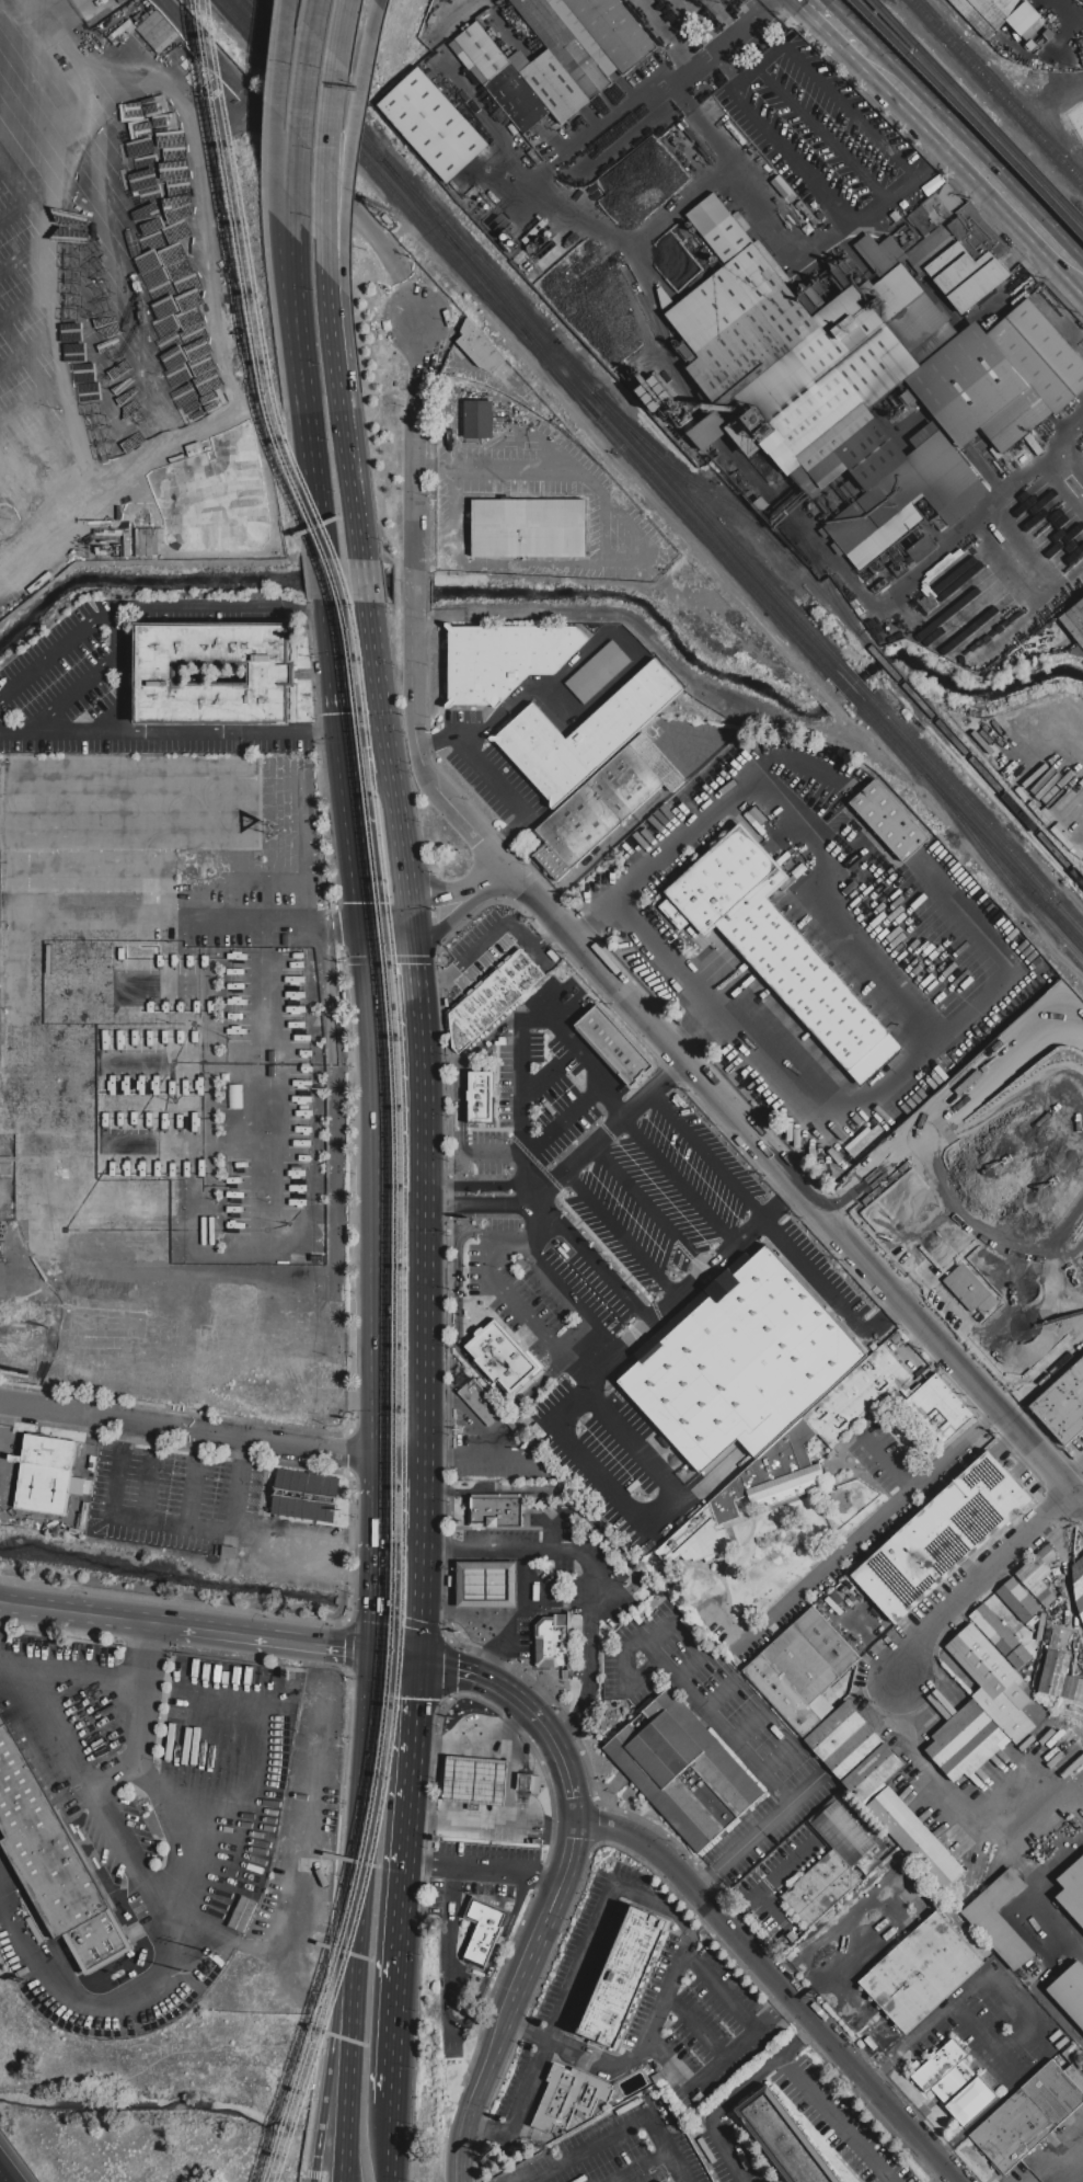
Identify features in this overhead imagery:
building: (550, 0)
road: (290, 2)
road: (318, 15)
building: (1002, 15)
road: (1065, 24)
road: (837, 25)
building: (614, 30)
road: (346, 31)
railway: (266, 32)
railway: (272, 32)
road: (376, 43)
building: (563, 46)
road: (771, 54)
road: (726, 58)
road: (749, 70)
building: (502, 77)
building: (551, 82)
railway: (1002, 88)
road: (647, 91)
railway: (982, 106)
road: (284, 107)
road: (851, 108)
railway: (972, 112)
road: (224, 116)
road: (965, 119)
building: (433, 124)
road: (303, 127)
road: (491, 129)
road: (821, 134)
railway: (364, 139)
road: (298, 153)
road: (330, 157)
road: (934, 157)
road: (973, 163)
road: (3, 172)
road: (353, 178)
road: (816, 183)
railway: (387, 185)
road: (677, 208)
road: (15, 214)
road: (781, 237)
road: (26, 252)
building: (880, 253)
road: (288, 272)
building: (967, 275)
road: (298, 278)
railway: (493, 293)
road: (93, 295)
road: (220, 299)
road: (38, 300)
parking lot: (72, 306)
road: (334, 312)
road: (345, 321)
road: (50, 341)
building: (480, 346)
building: (1012, 377)
road: (61, 379)
building: (821, 379)
road: (486, 397)
road: (56, 405)
road: (72, 420)
building: (480, 420)
road: (447, 435)
road: (311, 445)
road: (412, 447)
road: (546, 447)
railway: (730, 449)
road: (83, 461)
road: (353, 466)
road: (496, 471)
road: (1067, 472)
power tower: (1, 523)
building: (528, 528)
road: (601, 529)
road: (562, 563)
railway: (757, 574)
road: (326, 579)
road: (366, 582)
road: (413, 590)
road: (894, 605)
road: (223, 608)
building: (1075, 621)
railway: (857, 635)
road: (57, 652)
building: (504, 659)
railway: (817, 659)
road: (335, 666)
road: (120, 670)
building: (598, 672)
building: (273, 674)
road: (561, 676)
road: (414, 687)
road: (604, 693)
road: (71, 696)
road: (255, 732)
traffic signals: (343, 732)
road: (60, 734)
road: (463, 734)
building: (585, 734)
road: (388, 751)
building: (657, 762)
road: (793, 763)
road: (347, 774)
parking lot: (489, 774)
road: (509, 797)
building: (596, 811)
road: (463, 819)
building: (889, 820)
road: (659, 854)
railway: (1001, 870)
road: (359, 875)
road: (493, 877)
road: (445, 894)
traffic signals: (408, 900)
road: (388, 917)
road: (411, 917)
road: (587, 919)
road: (434, 930)
traffic signals: (367, 935)
traffic signals: (413, 935)
road: (492, 943)
building: (777, 947)
road: (861, 950)
road: (300, 993)
building: (493, 998)
parking lot: (558, 998)
road: (555, 1010)
road: (206, 1024)
road: (520, 1030)
road: (269, 1032)
road: (691, 1035)
building: (614, 1044)
parking lot: (572, 1051)
road: (270, 1067)
road: (423, 1070)
road: (464, 1073)
road: (995, 1074)
road: (539, 1082)
road: (884, 1086)
railway: (395, 1087)
railway: (405, 1087)
building: (482, 1096)
road: (272, 1107)
parking lot: (531, 1110)
road: (1002, 1111)
road: (565, 1120)
road: (464, 1130)
road: (609, 1132)
road: (272, 1145)
road: (336, 1150)
road: (495, 1152)
road: (708, 1155)
road: (866, 1178)
road: (790, 1180)
road: (679, 1183)
road: (272, 1186)
road: (477, 1186)
road: (782, 1203)
road: (379, 1206)
road: (479, 1206)
road: (541, 1207)
road: (650, 1209)
road: (272, 1215)
parking lot: (615, 1232)
road: (981, 1234)
road: (620, 1236)
road: (1067, 1238)
road: (587, 1257)
road: (272, 1263)
parking lot: (818, 1273)
building: (970, 1290)
road: (830, 1294)
road: (569, 1296)
road: (509, 1298)
road: (669, 1305)
road: (458, 1334)
road: (425, 1335)
building: (503, 1357)
building: (740, 1359)
road: (589, 1383)
building: (857, 1396)
building: (480, 1402)
building: (1063, 1405)
road: (567, 1408)
building: (938, 1409)
road: (473, 1417)
road: (8, 1425)
road: (211, 1433)
road: (483, 1456)
parking lot: (614, 1462)
road: (887, 1462)
road: (1072, 1472)
building: (46, 1473)
building: (773, 1474)
road: (195, 1480)
road: (115, 1484)
road: (147, 1487)
road: (497, 1489)
road: (424, 1490)
building: (306, 1495)
road: (1079, 1499)
parking lot: (172, 1500)
building: (496, 1510)
road: (379, 1516)
road: (664, 1517)
road: (24, 1519)
road: (553, 1528)
road: (232, 1529)
road: (349, 1535)
building: (942, 1536)
building: (698, 1540)
road: (852, 1541)
road: (277, 1545)
road: (520, 1550)
building: (229, 1552)
road: (514, 1555)
road: (461, 1556)
road: (476, 1556)
road: (499, 1556)
building: (1038, 1574)
road: (980, 1581)
building: (1079, 1584)
road: (461, 1585)
road: (476, 1585)
building: (487, 1585)
road: (498, 1585)
road: (514, 1585)
road: (422, 1588)
building: (1018, 1600)
road: (376, 1603)
road: (514, 1611)
road: (461, 1612)
road: (515, 1613)
road: (89, 1614)
road: (476, 1614)
road: (460, 1615)
road: (498, 1619)
road: (661, 1631)
building: (1001, 1636)
road: (277, 1640)
building: (552, 1642)
building: (827, 1642)
traffic signals: (376, 1653)
road: (396, 1656)
traffic signals: (418, 1660)
building: (982, 1660)
road: (689, 1665)
building: (800, 1665)
road: (590, 1672)
road: (69, 1675)
road: (626, 1677)
building: (1060, 1677)
building: (783, 1695)
road: (718, 1697)
road: (520, 1702)
building: (1007, 1712)
road: (372, 1718)
road: (717, 1725)
road: (750, 1726)
building: (836, 1729)
parking lot: (722, 1732)
building: (958, 1733)
road: (475, 1743)
building: (855, 1750)
building: (975, 1752)
road: (779, 1758)
building: (682, 1770)
road: (512, 1771)
building: (874, 1772)
road: (116, 1775)
road: (932, 1779)
building: (525, 1781)
building: (475, 1787)
road: (101, 1801)
road: (182, 1808)
road: (575, 1809)
road: (493, 1819)
road: (758, 1833)
building: (915, 1838)
building: (53, 1862)
road: (802, 1867)
road: (1024, 1870)
road: (483, 1871)
road: (403, 1882)
road: (770, 1883)
building: (820, 1887)
building: (1073, 1890)
road: (770, 1913)
building: (999, 1919)
road: (545, 1920)
road: (786, 1920)
road: (852, 1930)
building: (484, 1931)
road: (1068, 1942)
parking lot: (584, 1945)
road: (683, 1955)
power tower: (221, 1956)
road: (792, 1966)
building: (921, 1973)
power tower: (191, 1974)
building: (623, 1976)
road: (777, 1983)
road: (344, 1984)
road: (358, 1984)
road: (723, 1990)
road: (811, 1991)
building: (1070, 1991)
road: (1047, 1996)
road: (127, 2001)
road: (564, 2008)
road: (1017, 2011)
road: (861, 2017)
parking lot: (711, 2019)
road: (461, 2022)
road: (695, 2026)
road: (982, 2045)
road: (569, 2049)
road: (491, 2055)
road: (716, 2066)
building: (938, 2066)
building: (955, 2082)
road: (736, 2094)
building: (569, 2097)
building: (973, 2099)
building: (1029, 2114)
road: (836, 2120)
road: (487, 2130)
road: (462, 2136)
building: (784, 2138)
road: (388, 2144)
road: (590, 2147)
road: (669, 2147)
parking lot: (617, 2152)
road: (1057, 2159)
road: (645, 2167)
road: (10, 2169)
building: (670, 2181)

